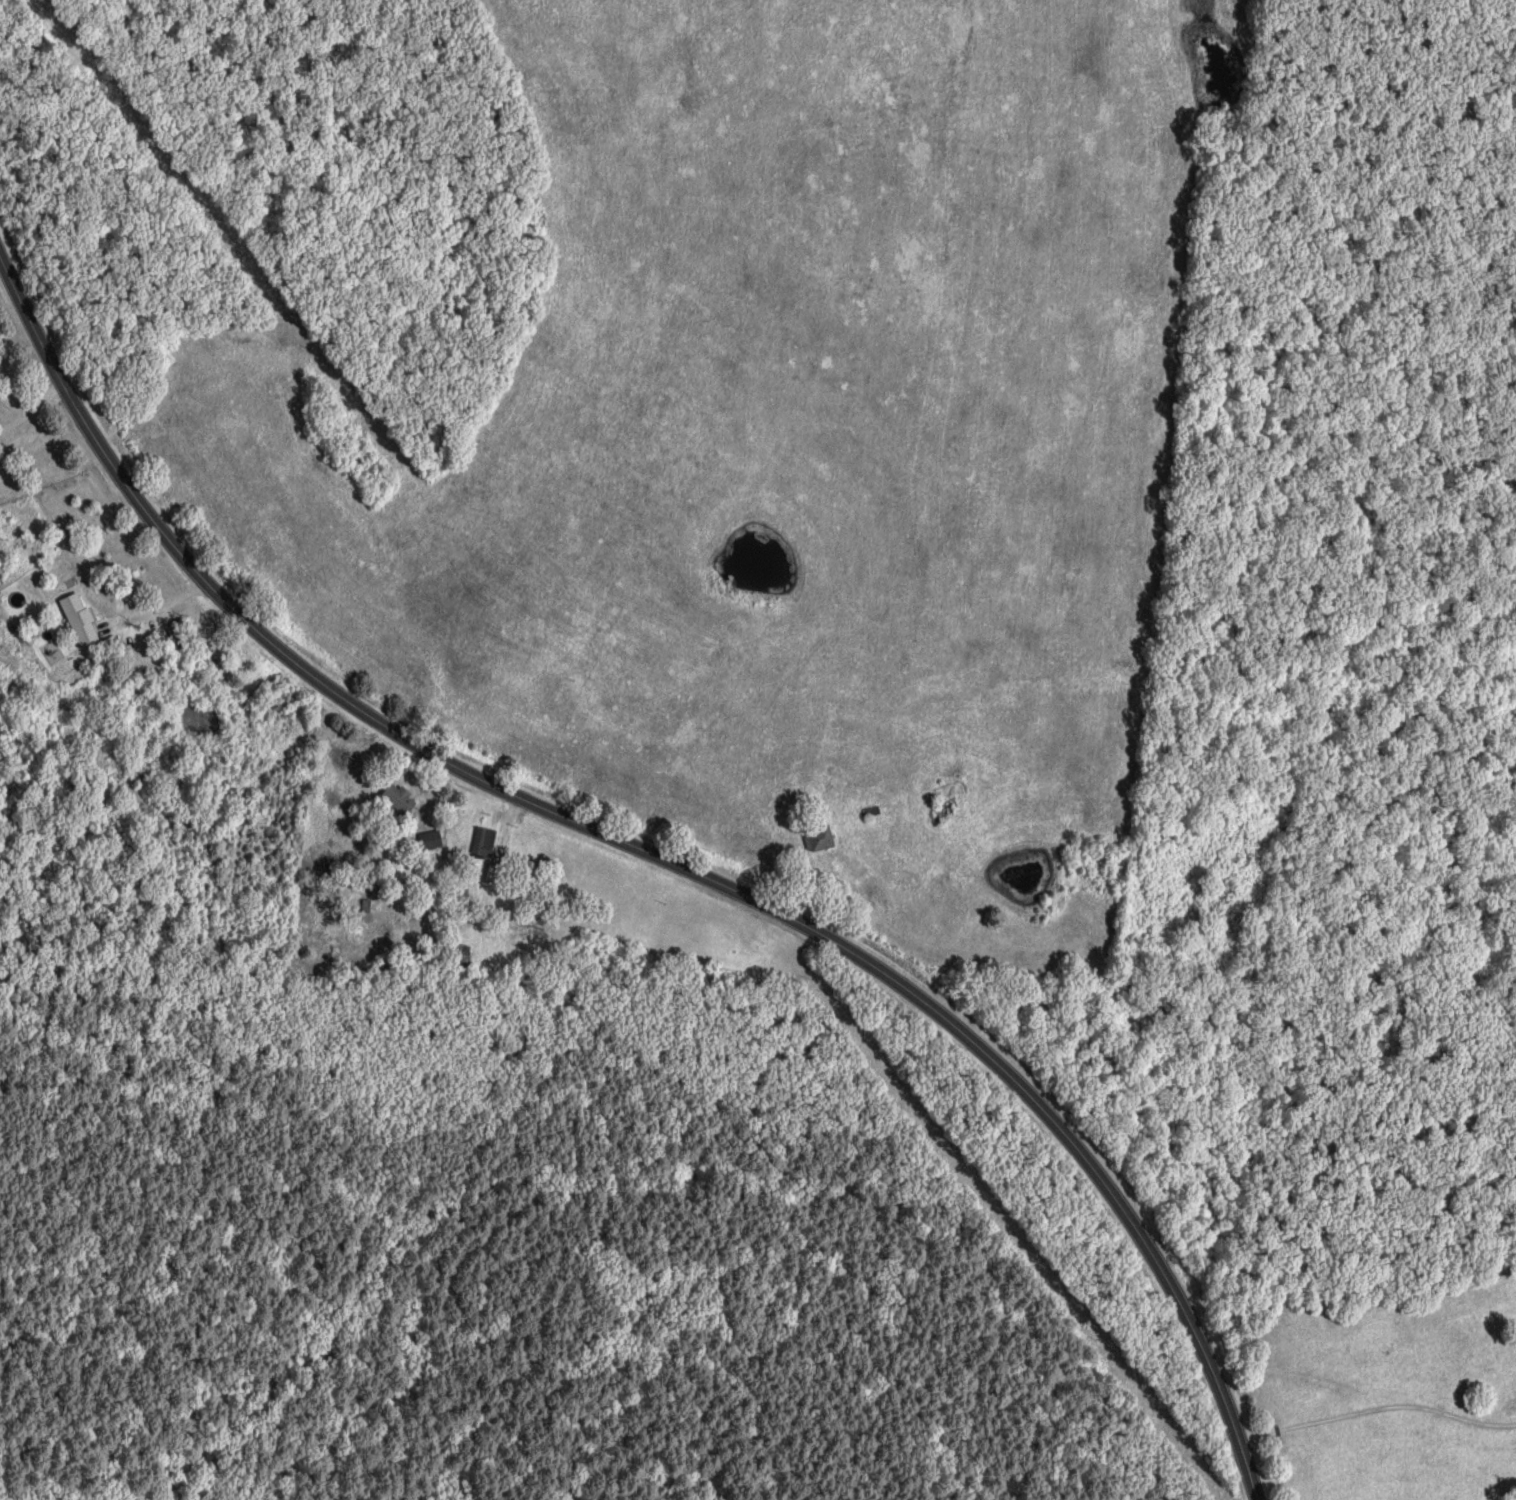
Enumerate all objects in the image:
building: (82, 617)
building: (401, 797)
building: (823, 838)
building: (486, 840)
road: (654, 857)

